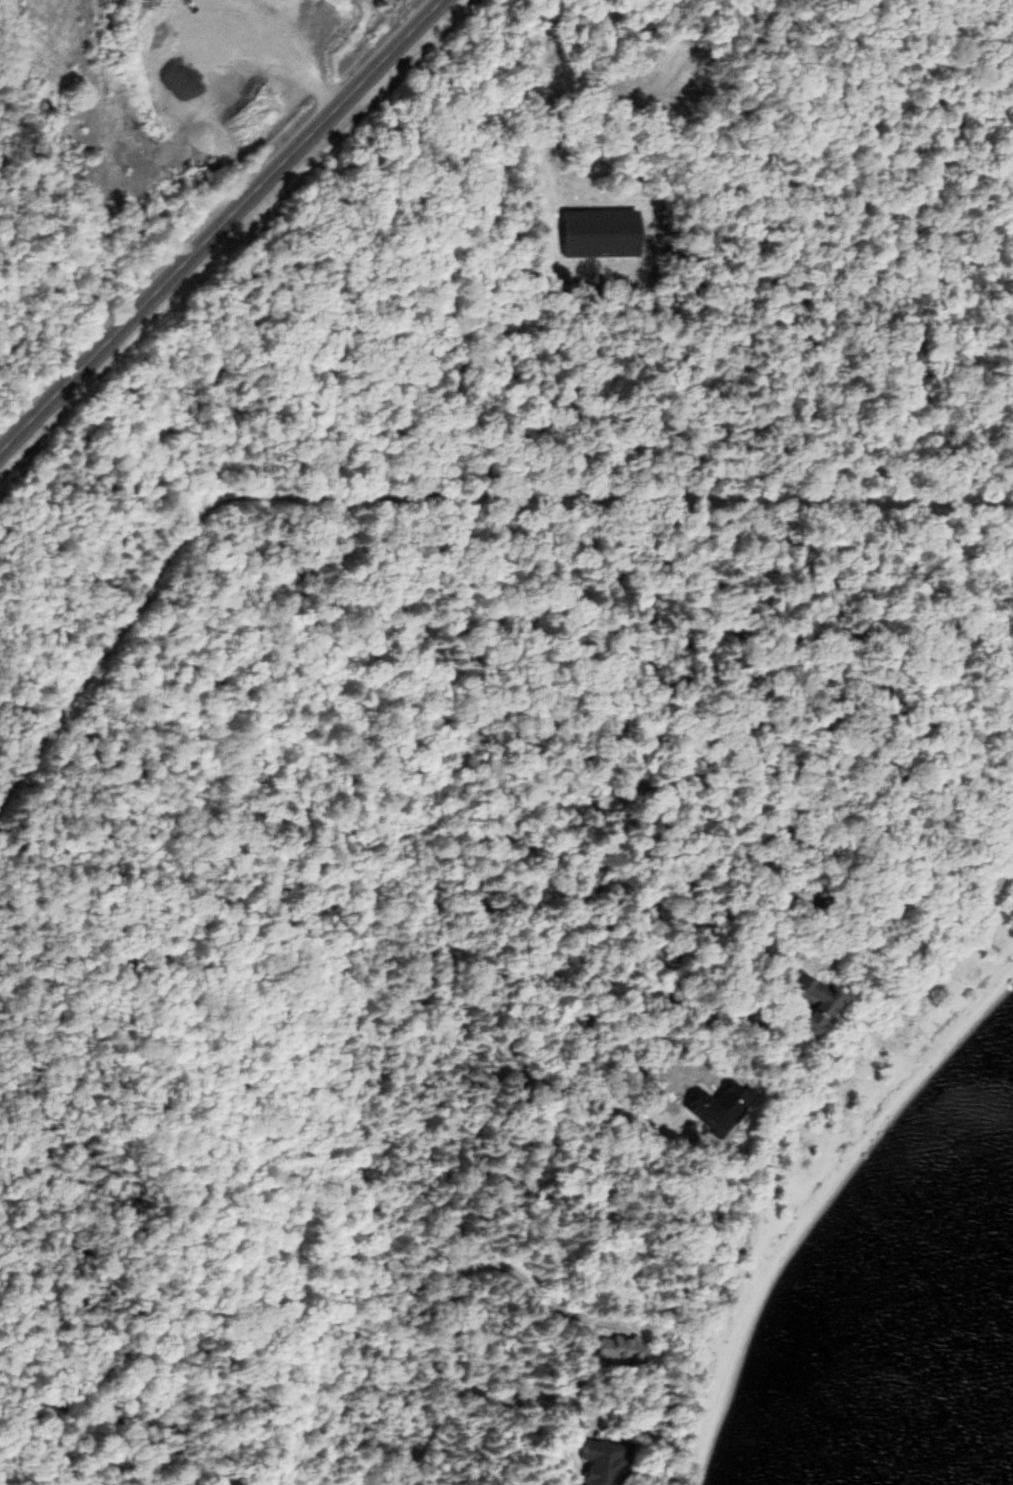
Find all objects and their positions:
road: (295, 62)
quarry: (205, 96)
park: (53, 166)
road: (221, 224)
building: (817, 1002)
road: (457, 1250)
building: (623, 1346)
building: (600, 1462)

